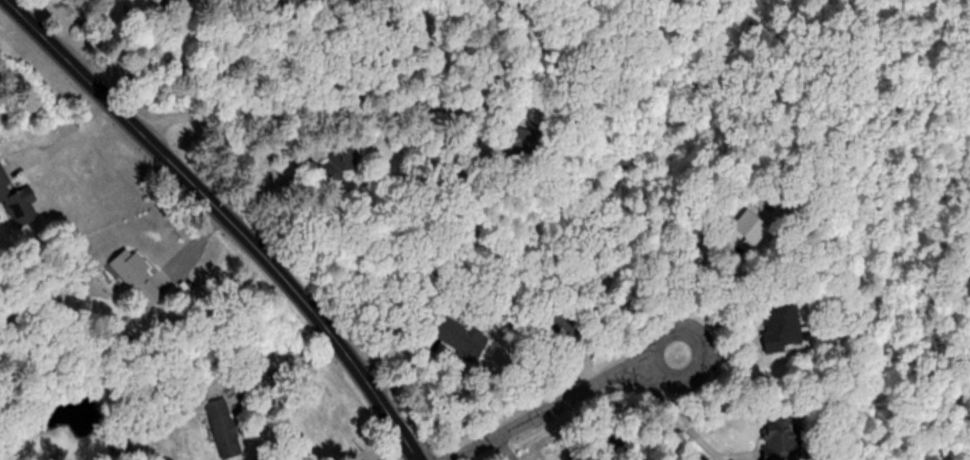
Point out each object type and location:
road: (115, 27)
road: (65, 139)
building: (16, 203)
road: (220, 216)
building: (140, 276)
building: (781, 327)
road: (239, 379)
road: (581, 396)
road: (688, 422)
building: (223, 428)
building: (782, 438)

